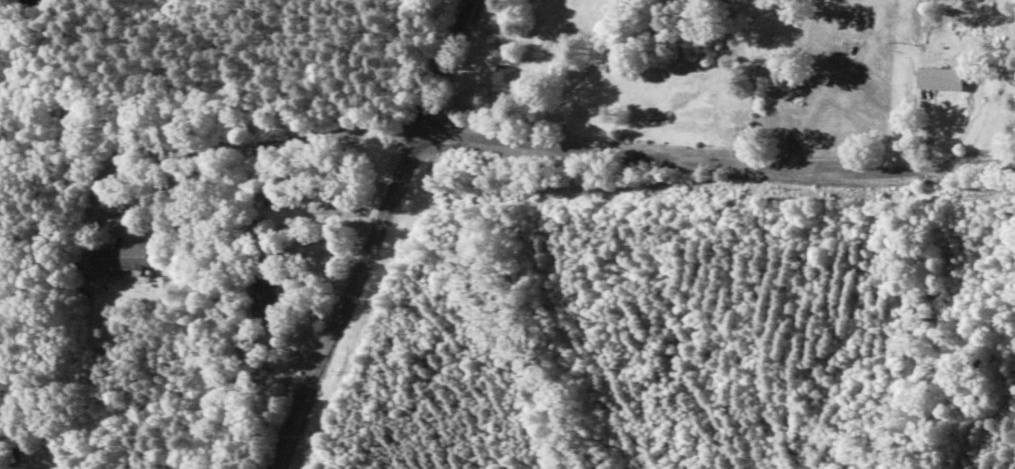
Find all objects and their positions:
building: (838, 53)
building: (937, 80)
road: (205, 138)
road: (713, 152)
road: (369, 234)
building: (111, 265)

